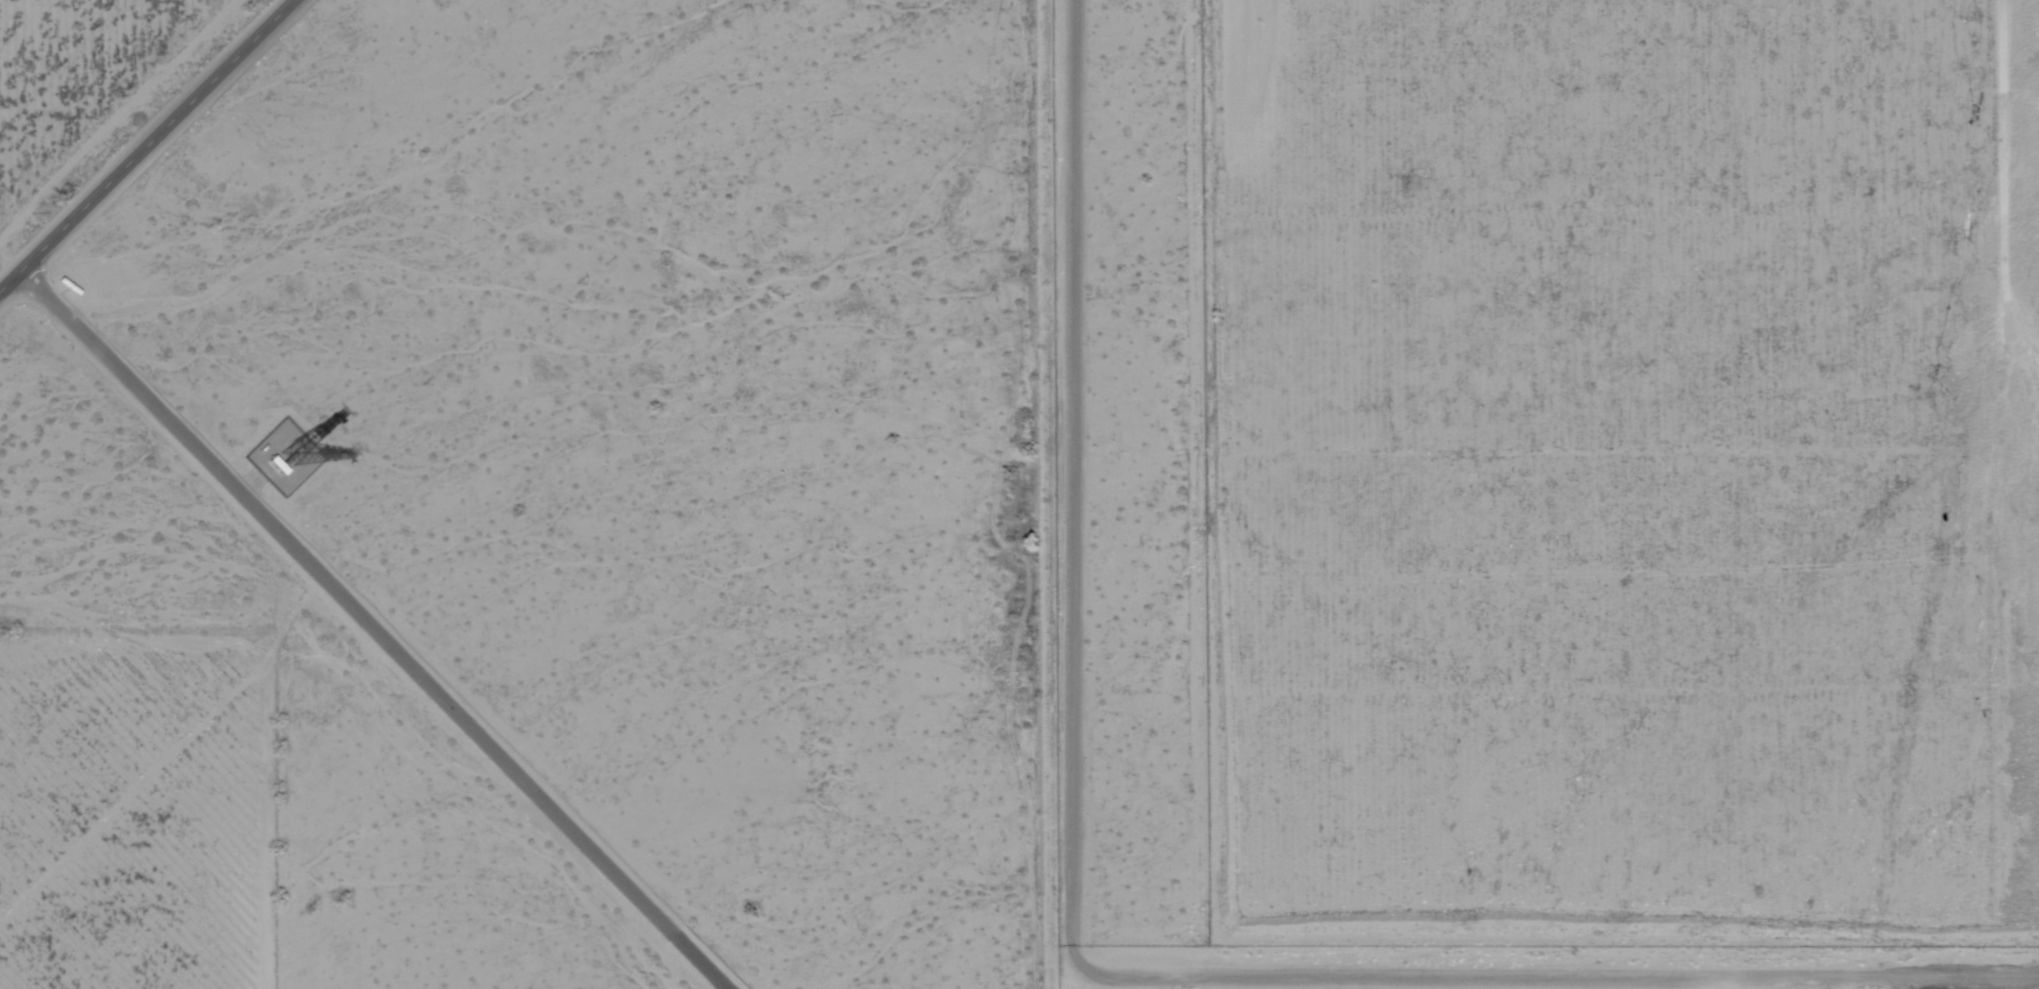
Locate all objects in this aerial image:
road: (157, 134)
road: (11, 278)
road: (374, 628)

